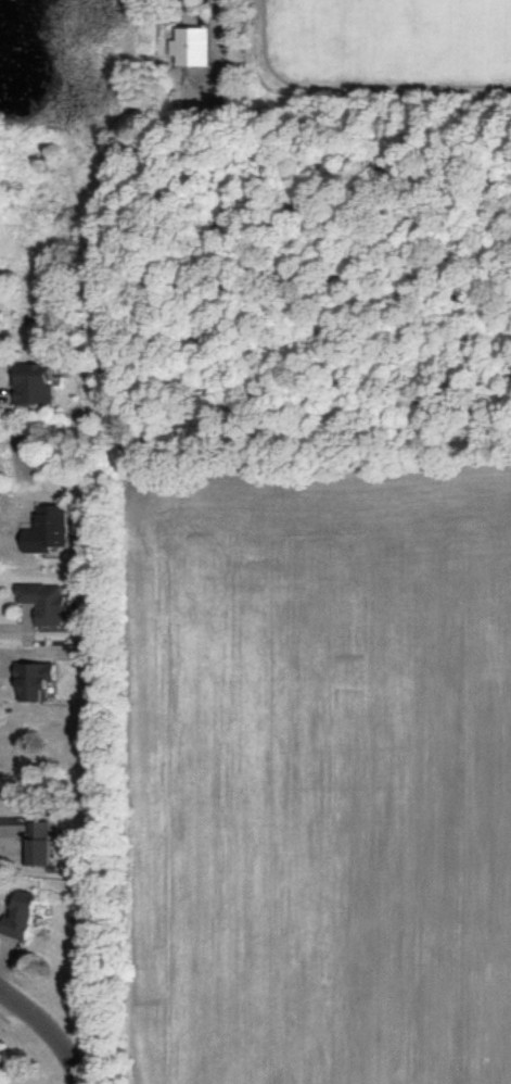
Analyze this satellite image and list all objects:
building: (192, 46)
building: (35, 383)
building: (48, 529)
building: (44, 601)
building: (34, 680)
building: (41, 842)
building: (22, 916)
road: (50, 1029)

